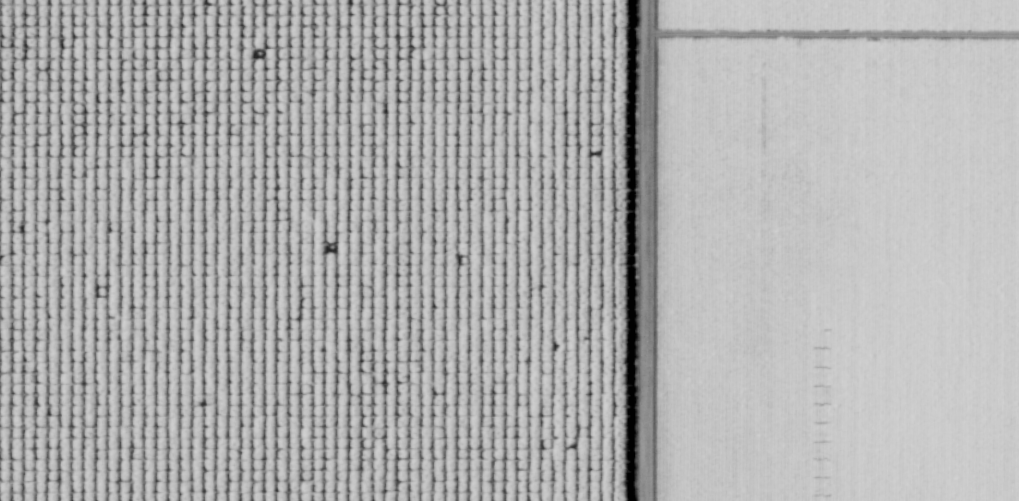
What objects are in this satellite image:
road: (656, 250)

